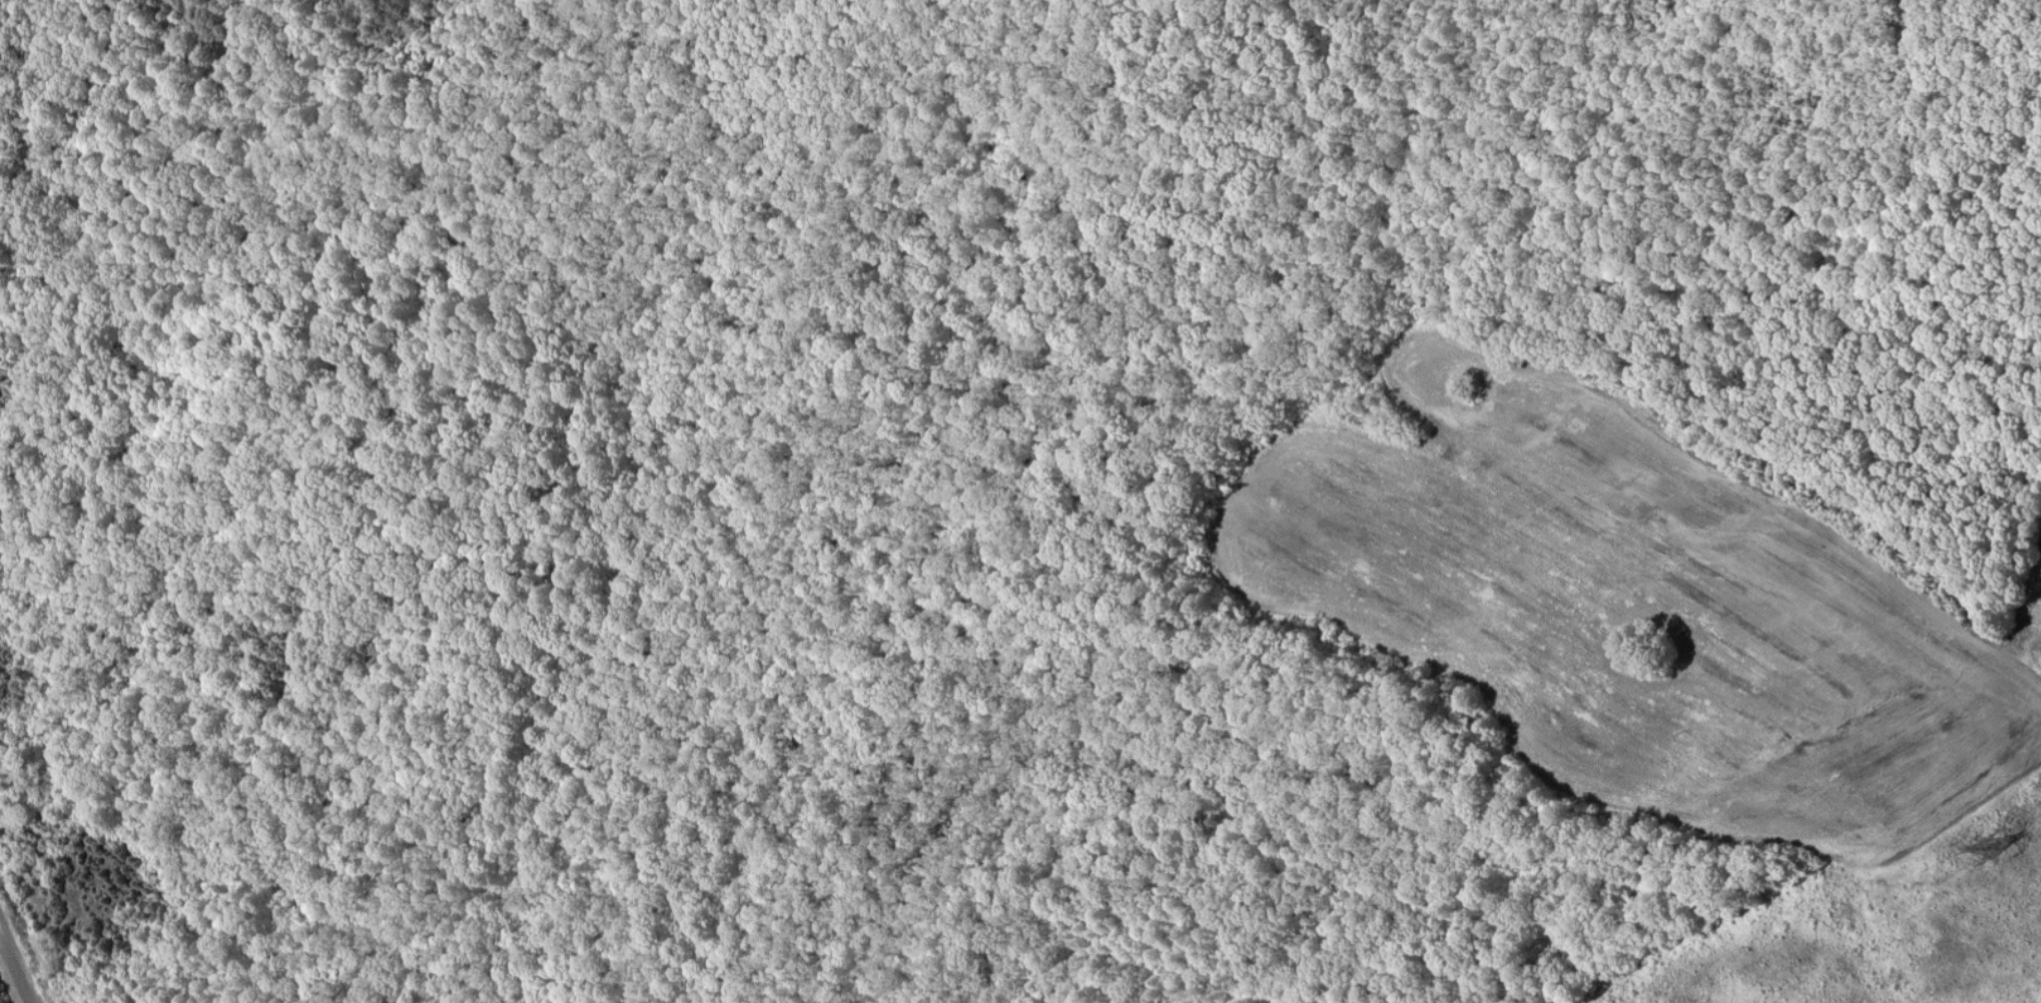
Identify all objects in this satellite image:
power tower: (1990, 845)
road: (15, 968)

